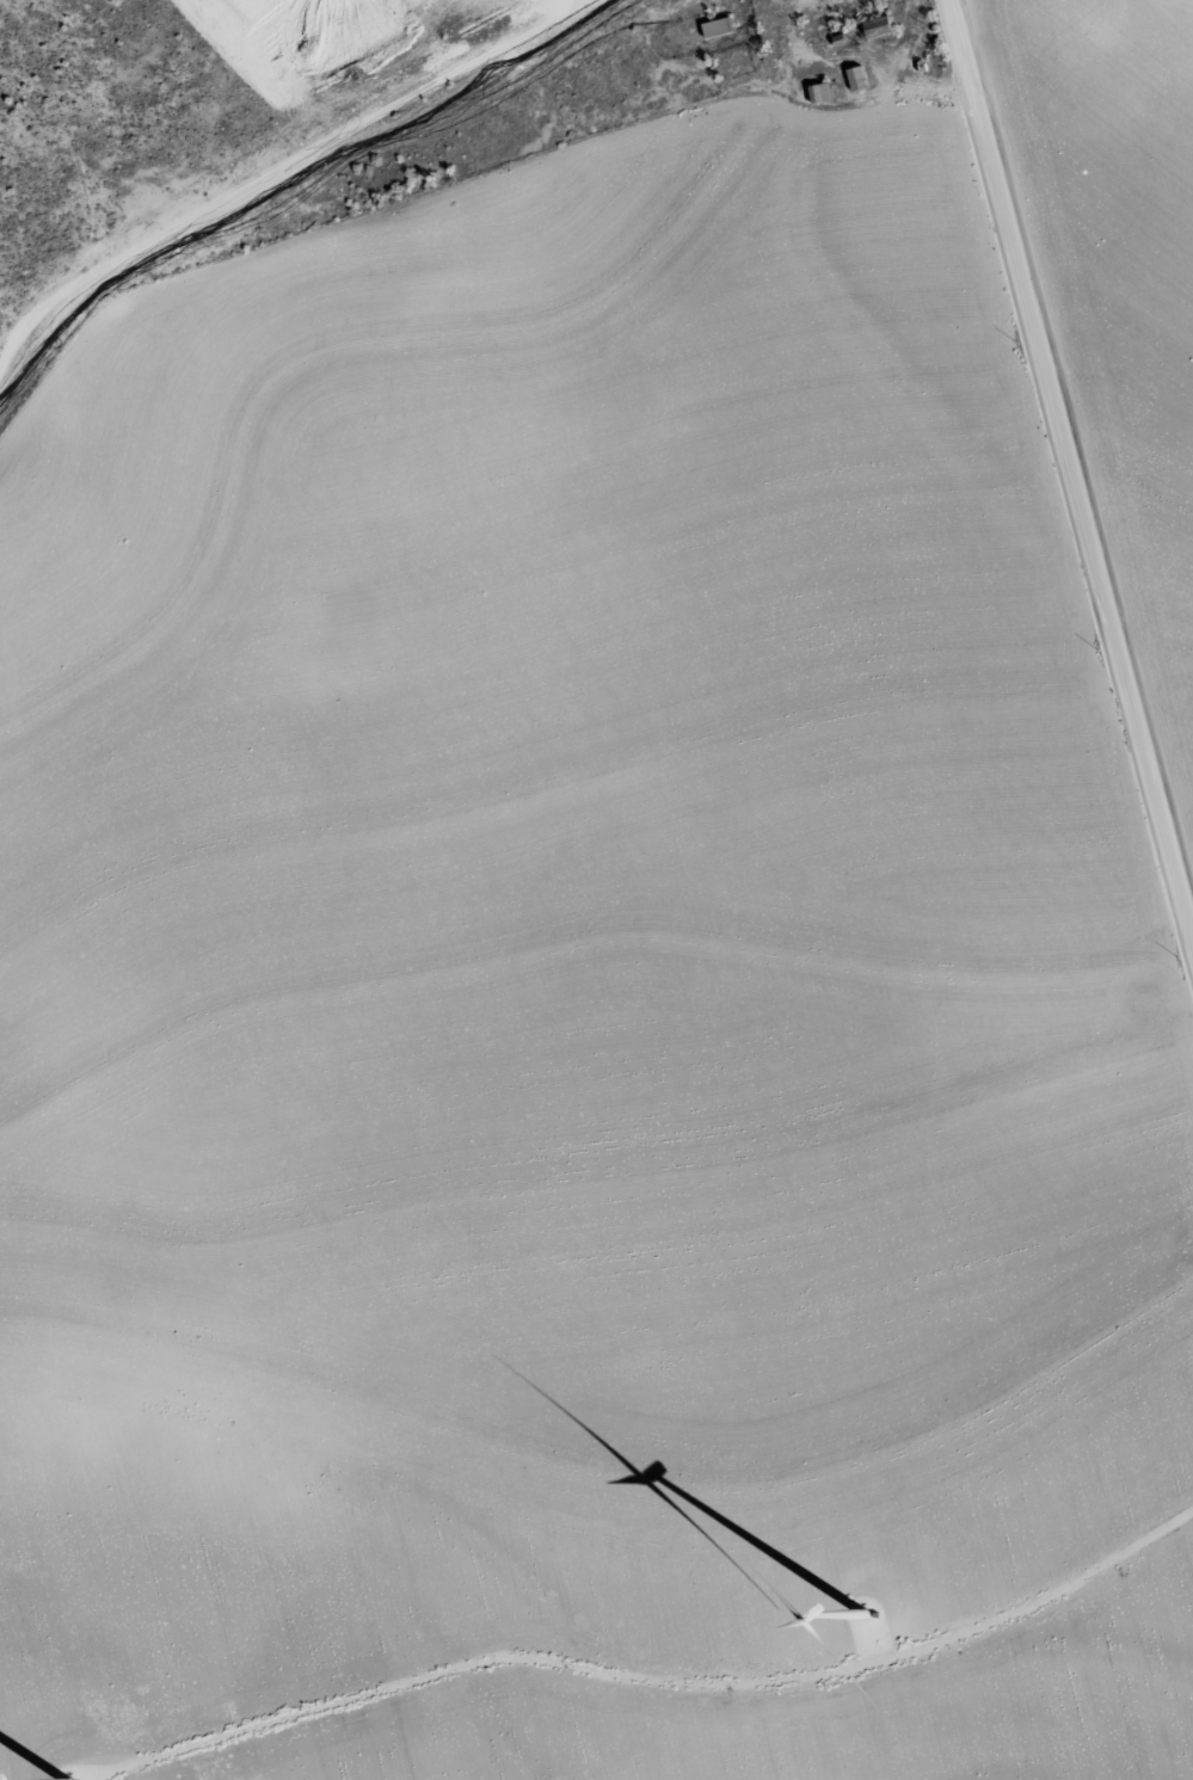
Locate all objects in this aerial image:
building: (878, 25)
building: (718, 26)
building: (837, 37)
building: (856, 78)
building: (820, 92)
road: (1068, 482)
wind turbine: (867, 1613)

